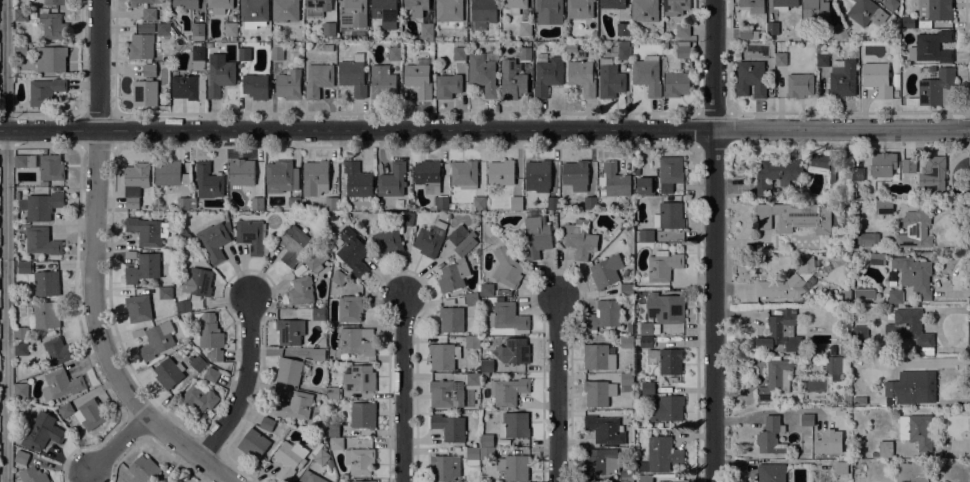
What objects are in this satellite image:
building: (54, 2)
building: (185, 4)
building: (612, 4)
building: (783, 4)
building: (891, 4)
building: (514, 5)
building: (753, 5)
building: (219, 6)
building: (316, 7)
building: (416, 7)
building: (675, 7)
building: (146, 8)
building: (579, 8)
building: (285, 10)
building: (448, 10)
building: (483, 10)
building: (644, 10)
building: (815, 10)
building: (548, 11)
building: (933, 11)
building: (254, 12)
building: (352, 12)
building: (384, 12)
building: (866, 12)
building: (20, 15)
building: (907, 22)
building: (52, 25)
building: (328, 28)
building: (524, 28)
building: (772, 28)
building: (163, 29)
building: (623, 29)
building: (230, 30)
building: (682, 30)
building: (426, 31)
building: (198, 32)
building: (840, 32)
building: (748, 34)
building: (142, 42)
building: (208, 44)
building: (327, 47)
building: (931, 47)
building: (20, 49)
building: (575, 49)
building: (682, 50)
building: (276, 51)
building: (393, 53)
building: (459, 53)
building: (524, 53)
building: (622, 53)
building: (244, 54)
building: (197, 56)
building: (736, 56)
building: (50, 59)
building: (780, 59)
building: (822, 60)
building: (149, 70)
building: (482, 74)
building: (546, 74)
building: (353, 75)
building: (219, 76)
building: (646, 76)
building: (581, 77)
building: (842, 78)
building: (418, 79)
building: (609, 79)
building: (750, 79)
building: (877, 79)
building: (317, 80)
building: (511, 80)
building: (381, 82)
building: (676, 84)
building: (288, 85)
building: (448, 85)
building: (799, 85)
building: (255, 86)
building: (188, 87)
building: (935, 89)
building: (43, 91)
building: (144, 92)
building: (895, 93)
road: (484, 131)
building: (884, 156)
building: (24, 161)
building: (818, 164)
building: (908, 166)
building: (50, 167)
building: (670, 170)
building: (241, 172)
building: (501, 172)
building: (832, 172)
building: (170, 173)
building: (279, 174)
building: (464, 174)
building: (776, 174)
building: (857, 174)
building: (538, 175)
building: (575, 175)
building: (428, 176)
building: (933, 176)
building: (315, 177)
building: (357, 180)
building: (392, 180)
building: (614, 180)
building: (208, 181)
building: (44, 183)
building: (135, 183)
building: (645, 186)
building: (56, 188)
building: (182, 203)
building: (254, 203)
building: (294, 203)
building: (331, 203)
building: (441, 203)
building: (478, 203)
building: (516, 203)
building: (552, 203)
building: (590, 203)
building: (40, 205)
building: (451, 206)
building: (525, 206)
building: (883, 207)
building: (668, 216)
building: (793, 217)
building: (406, 218)
building: (228, 226)
building: (914, 229)
building: (147, 231)
building: (184, 234)
building: (457, 235)
building: (645, 235)
building: (251, 237)
building: (535, 237)
building: (867, 238)
building: (430, 239)
building: (579, 239)
road: (6, 241)
building: (41, 241)
building: (214, 241)
road: (712, 241)
building: (387, 242)
building: (292, 244)
building: (352, 252)
building: (877, 258)
building: (316, 260)
building: (662, 265)
building: (142, 266)
building: (24, 267)
building: (456, 267)
road: (93, 268)
building: (506, 268)
building: (607, 271)
building: (914, 274)
building: (338, 277)
building: (891, 278)
building: (787, 281)
building: (44, 283)
building: (626, 287)
building: (194, 288)
building: (301, 290)
building: (486, 290)
building: (847, 292)
building: (165, 293)
building: (864, 294)
building: (895, 296)
building: (471, 299)
building: (138, 308)
building: (350, 308)
building: (664, 308)
building: (318, 314)
building: (46, 315)
building: (603, 316)
building: (506, 317)
building: (174, 318)
building: (451, 320)
building: (629, 328)
building: (649, 328)
building: (910, 330)
building: (290, 331)
building: (20, 332)
building: (780, 332)
building: (209, 334)
building: (155, 339)
building: (859, 339)
building: (356, 341)
building: (646, 341)
building: (472, 342)
building: (626, 342)
building: (20, 349)
building: (58, 350)
building: (817, 350)
building: (833, 350)
building: (515, 351)
building: (318, 354)
building: (443, 356)
building: (597, 357)
building: (668, 359)
building: (839, 361)
building: (197, 363)
building: (486, 367)
building: (291, 370)
building: (458, 370)
building: (168, 373)
building: (211, 374)
building: (359, 378)
building: (472, 379)
building: (775, 379)
building: (626, 381)
building: (61, 384)
road: (244, 384)
road: (556, 388)
building: (647, 388)
building: (892, 388)
road: (401, 389)
building: (21, 390)
building: (917, 390)
building: (508, 391)
building: (598, 392)
building: (332, 393)
building: (446, 393)
building: (198, 397)
building: (896, 402)
building: (294, 405)
building: (666, 408)
road: (769, 411)
building: (84, 413)
building: (363, 415)
building: (807, 419)
building: (268, 423)
building: (514, 424)
building: (659, 425)
building: (449, 427)
building: (605, 429)
building: (41, 430)
building: (332, 430)
building: (916, 430)
building: (770, 436)
building: (486, 440)
building: (336, 443)
building: (253, 444)
road: (117, 446)
building: (885, 448)
building: (487, 453)
building: (874, 454)
building: (660, 455)
building: (472, 456)
building: (21, 457)
building: (321, 457)
building: (289, 459)
building: (359, 460)
building: (600, 461)
building: (444, 467)
building: (514, 467)
building: (143, 469)
building: (839, 471)
building: (771, 472)
building: (911, 472)
building: (33, 475)
building: (626, 476)
building: (310, 477)
building: (645, 479)
building: (174, 480)
building: (365, 481)

